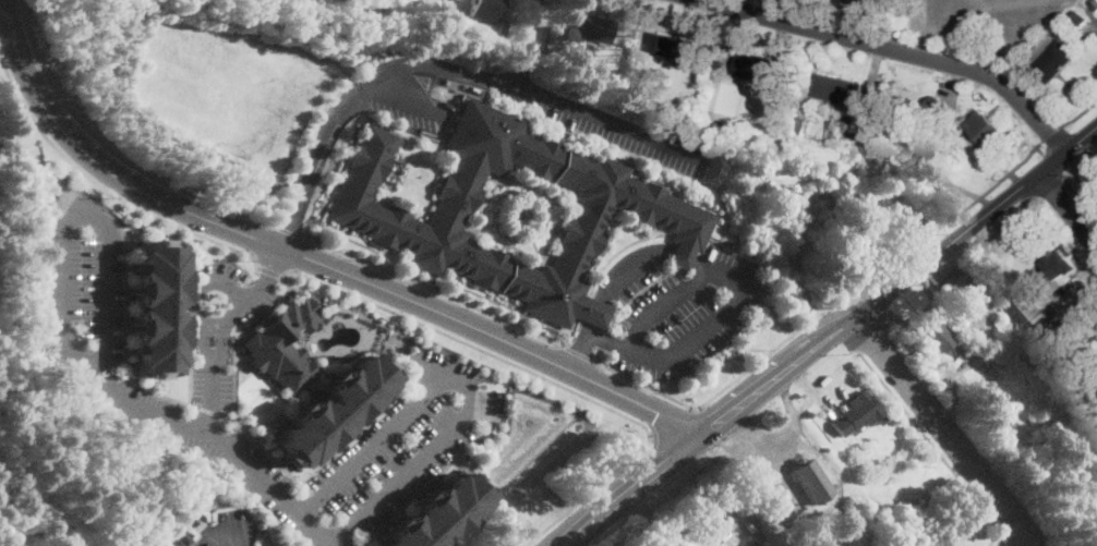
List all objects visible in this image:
building: (872, 1)
road: (5, 3)
building: (1094, 4)
road: (3, 7)
building: (484, 9)
road: (961, 12)
building: (1078, 19)
road: (515, 23)
road: (529, 24)
building: (592, 27)
building: (673, 46)
road: (899, 49)
building: (1051, 57)
road: (517, 66)
building: (755, 68)
road: (517, 85)
building: (634, 85)
building: (839, 89)
building: (652, 90)
building: (777, 102)
building: (725, 105)
building: (917, 105)
building: (936, 106)
road: (1076, 114)
building: (796, 124)
building: (987, 131)
road: (1047, 133)
building: (875, 141)
road: (111, 147)
building: (919, 148)
road: (1041, 150)
road: (1054, 167)
building: (715, 168)
road: (308, 173)
road: (107, 190)
building: (827, 197)
road: (1080, 198)
building: (786, 199)
road: (1069, 205)
building: (671, 213)
road: (936, 226)
road: (288, 230)
road: (317, 258)
building: (1060, 263)
road: (268, 264)
road: (270, 270)
road: (739, 278)
parking lot: (82, 288)
road: (197, 289)
building: (962, 290)
road: (242, 303)
road: (665, 303)
building: (1026, 303)
building: (156, 306)
road: (832, 336)
building: (937, 337)
road: (553, 340)
road: (222, 341)
road: (205, 342)
building: (285, 343)
road: (581, 350)
road: (579, 351)
road: (546, 378)
road: (714, 395)
road: (212, 397)
building: (333, 409)
building: (857, 414)
road: (672, 422)
road: (948, 432)
road: (935, 447)
road: (237, 450)
building: (812, 481)
road: (493, 496)
building: (434, 513)
parking lot: (229, 529)
road: (314, 529)
building: (182, 536)
road: (216, 537)
road: (1016, 537)
road: (1005, 538)
building: (750, 543)

